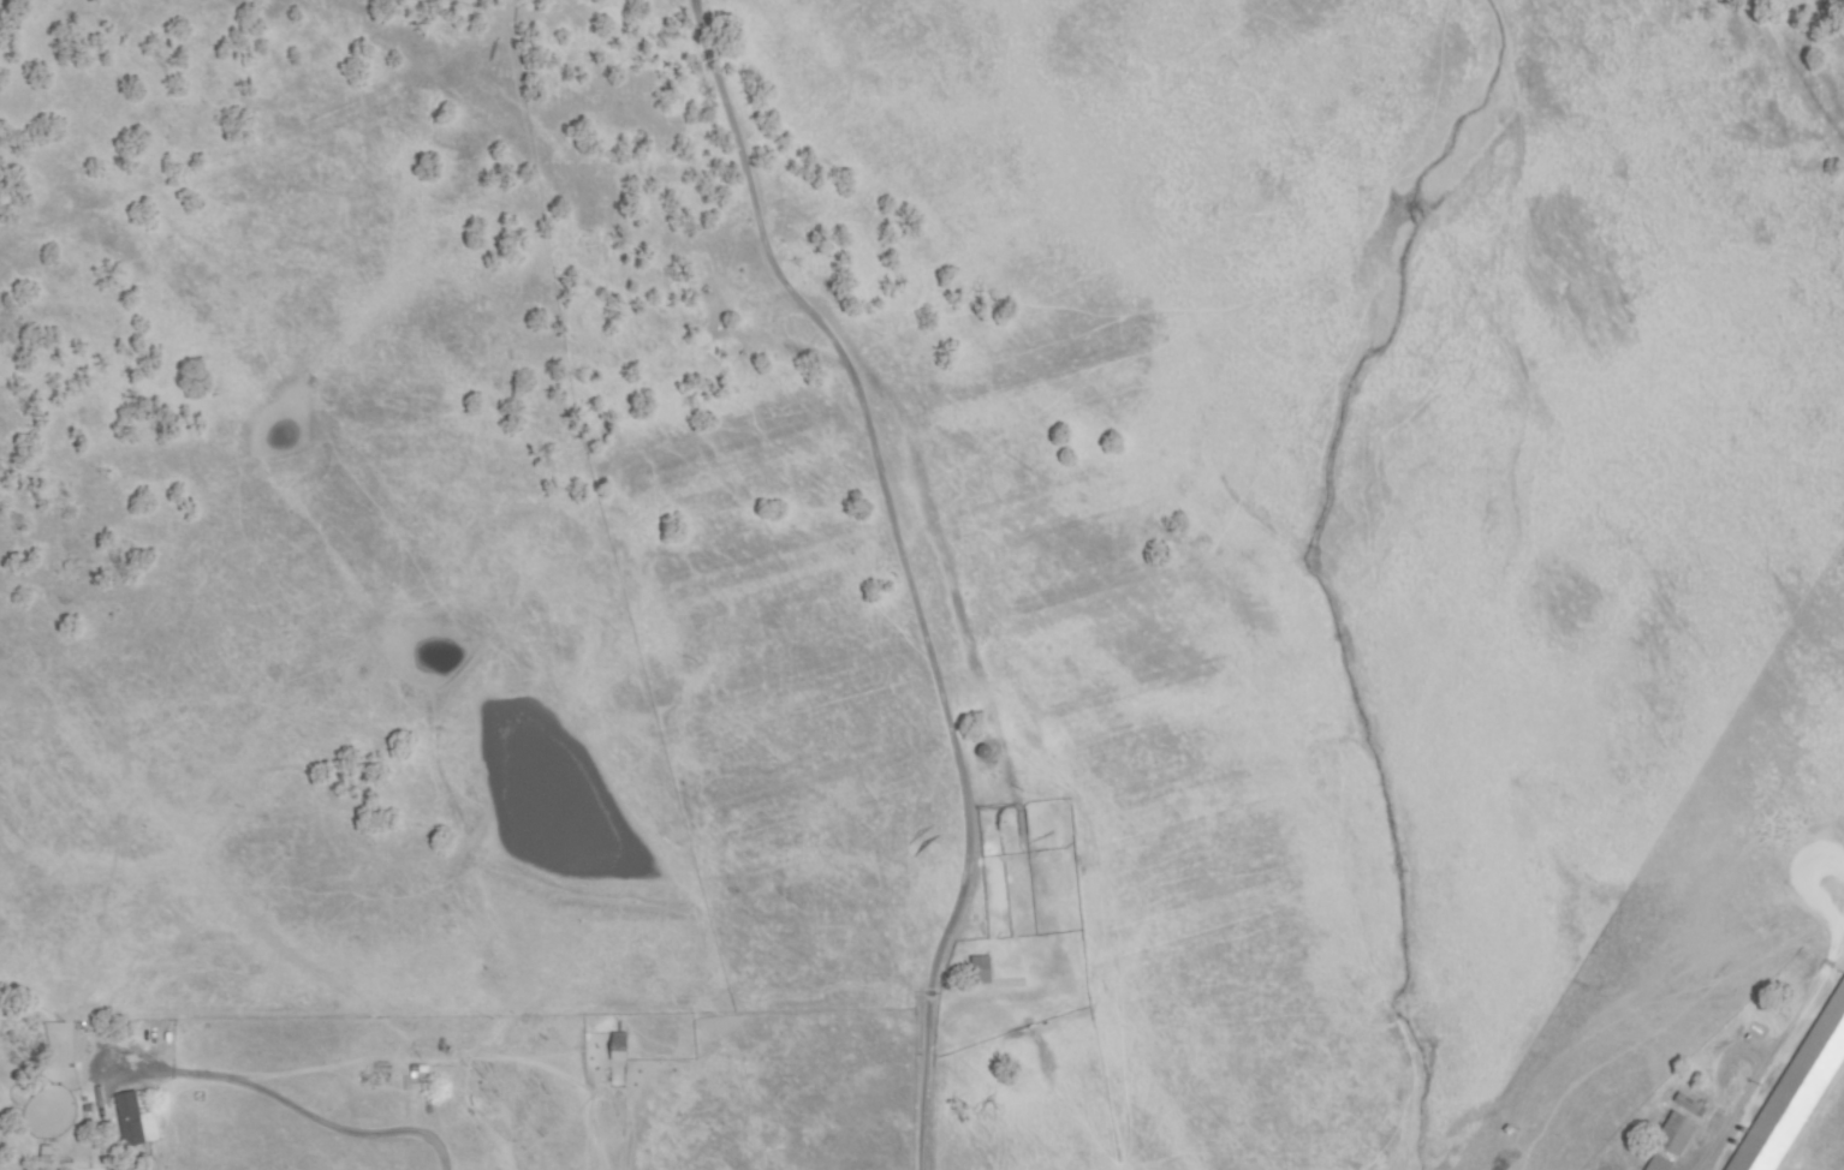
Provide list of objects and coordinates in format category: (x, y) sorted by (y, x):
road: (537, 16)
road: (945, 567)
building: (989, 753)
building: (981, 969)
building: (619, 1047)
building: (418, 1070)
building: (1796, 1091)
building: (1690, 1105)
road: (323, 1117)
building: (131, 1120)
building: (1509, 1129)
building: (1676, 1134)
building: (46, 1158)
building: (1660, 1164)

